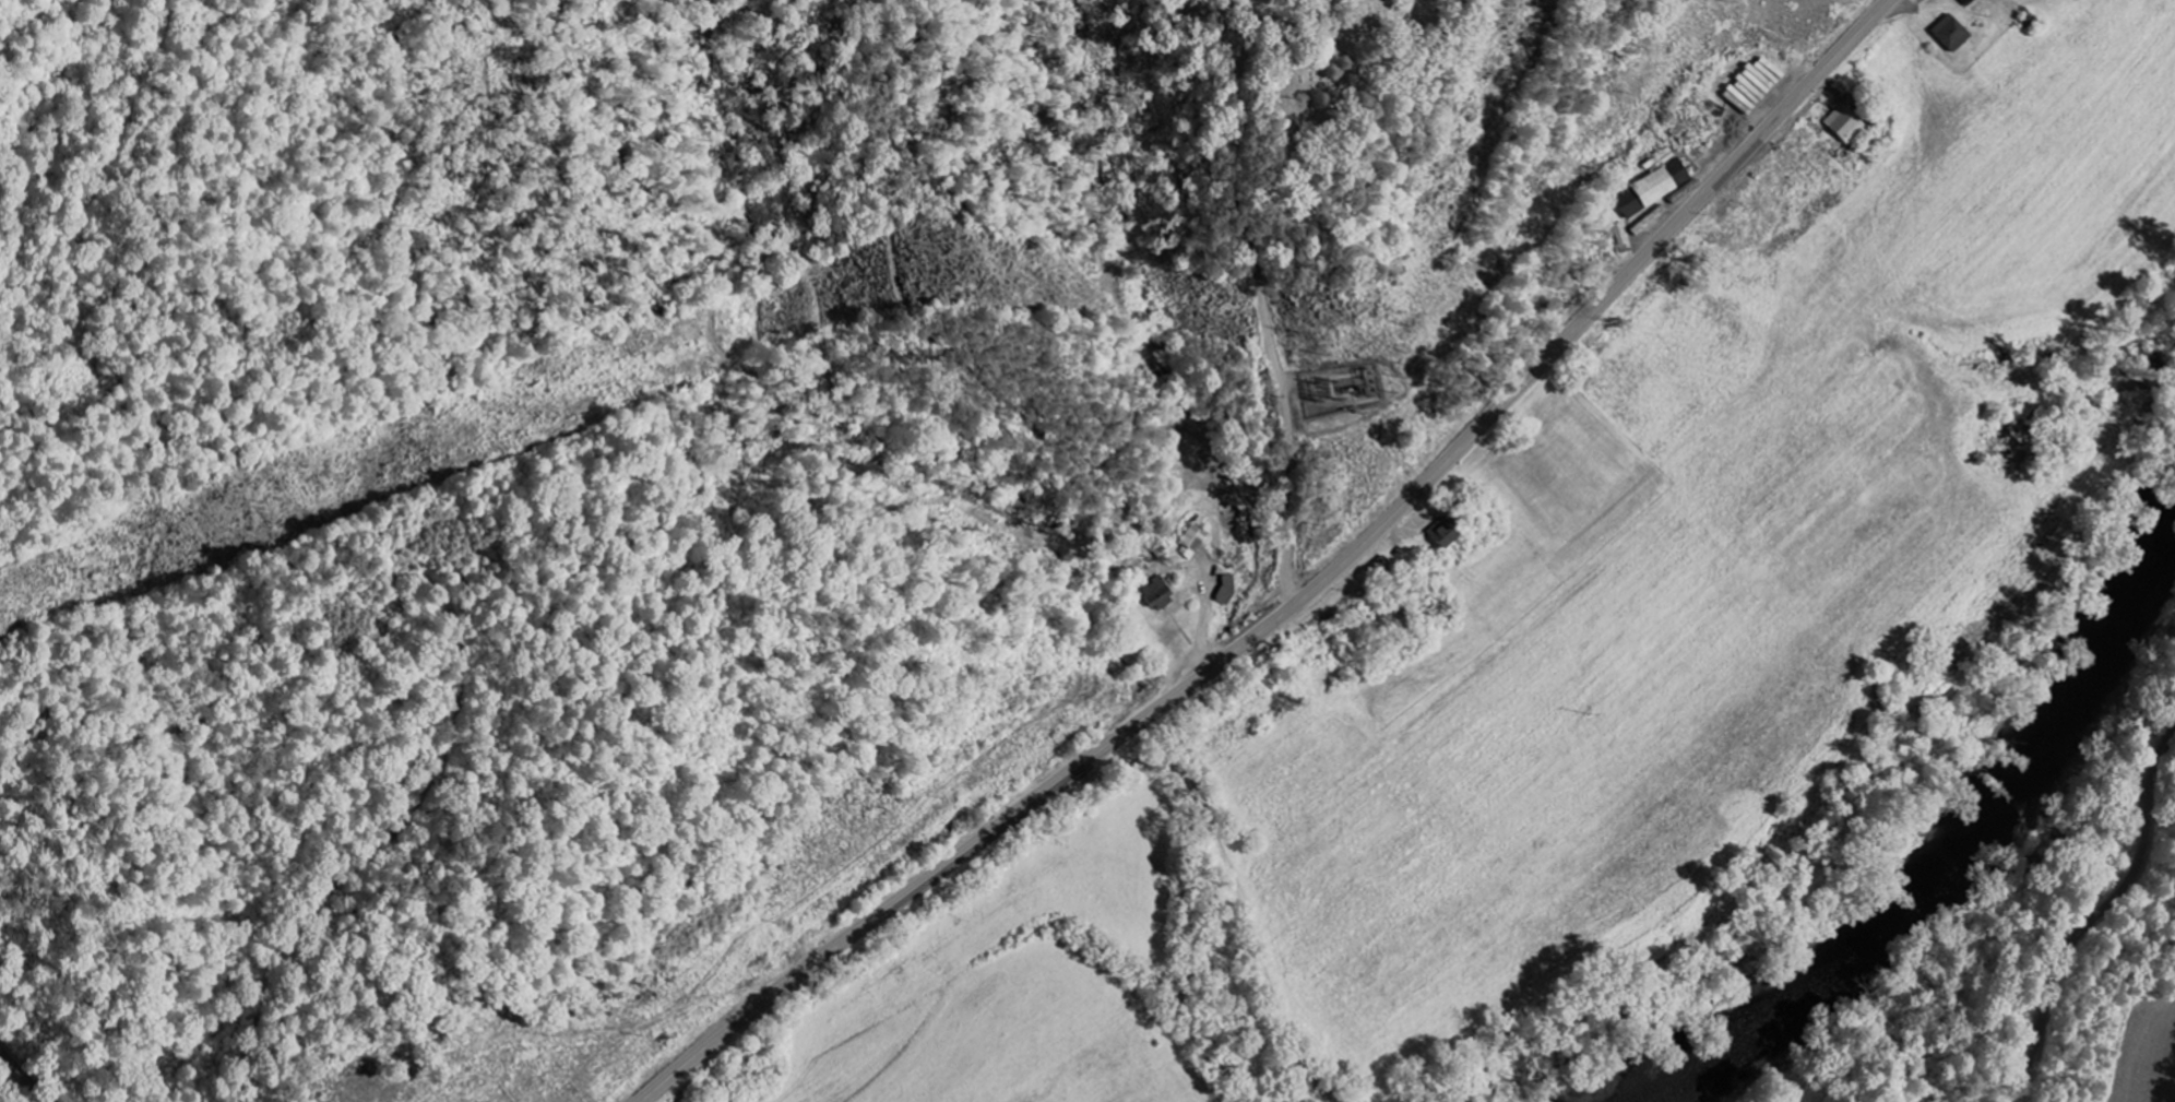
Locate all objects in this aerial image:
building: (1948, 34)
park: (1357, 66)
building: (1840, 123)
building: (1653, 187)
building: (1620, 233)
road: (1265, 301)
power substation: (1335, 386)
building: (1439, 534)
building: (1191, 542)
building: (1153, 594)
road: (1305, 595)
river: (1968, 865)
road: (2100, 913)
road: (25, 1077)

